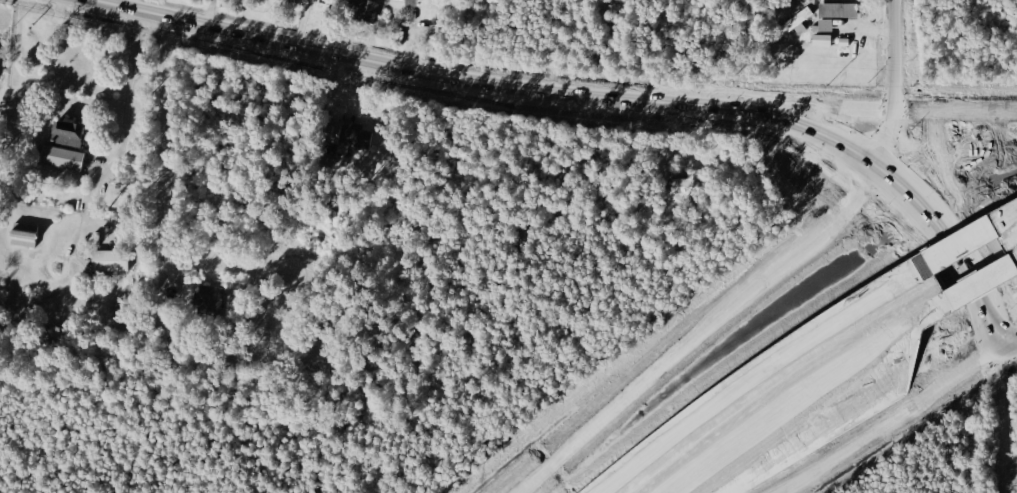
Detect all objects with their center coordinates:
building: (286, 0)
building: (411, 2)
road: (131, 5)
building: (364, 9)
building: (839, 10)
road: (212, 14)
road: (300, 23)
building: (794, 23)
building: (826, 25)
building: (821, 40)
road: (411, 70)
road: (893, 84)
road: (125, 125)
building: (330, 133)
building: (64, 134)
building: (360, 139)
building: (57, 157)
road: (962, 166)
road: (911, 197)
road: (1010, 218)
road: (982, 224)
building: (25, 234)
road: (970, 241)
building: (110, 261)
road: (986, 282)
building: (211, 299)
road: (708, 331)
road: (1015, 354)
road: (763, 369)
road: (810, 390)
road: (1010, 424)
road: (902, 426)

